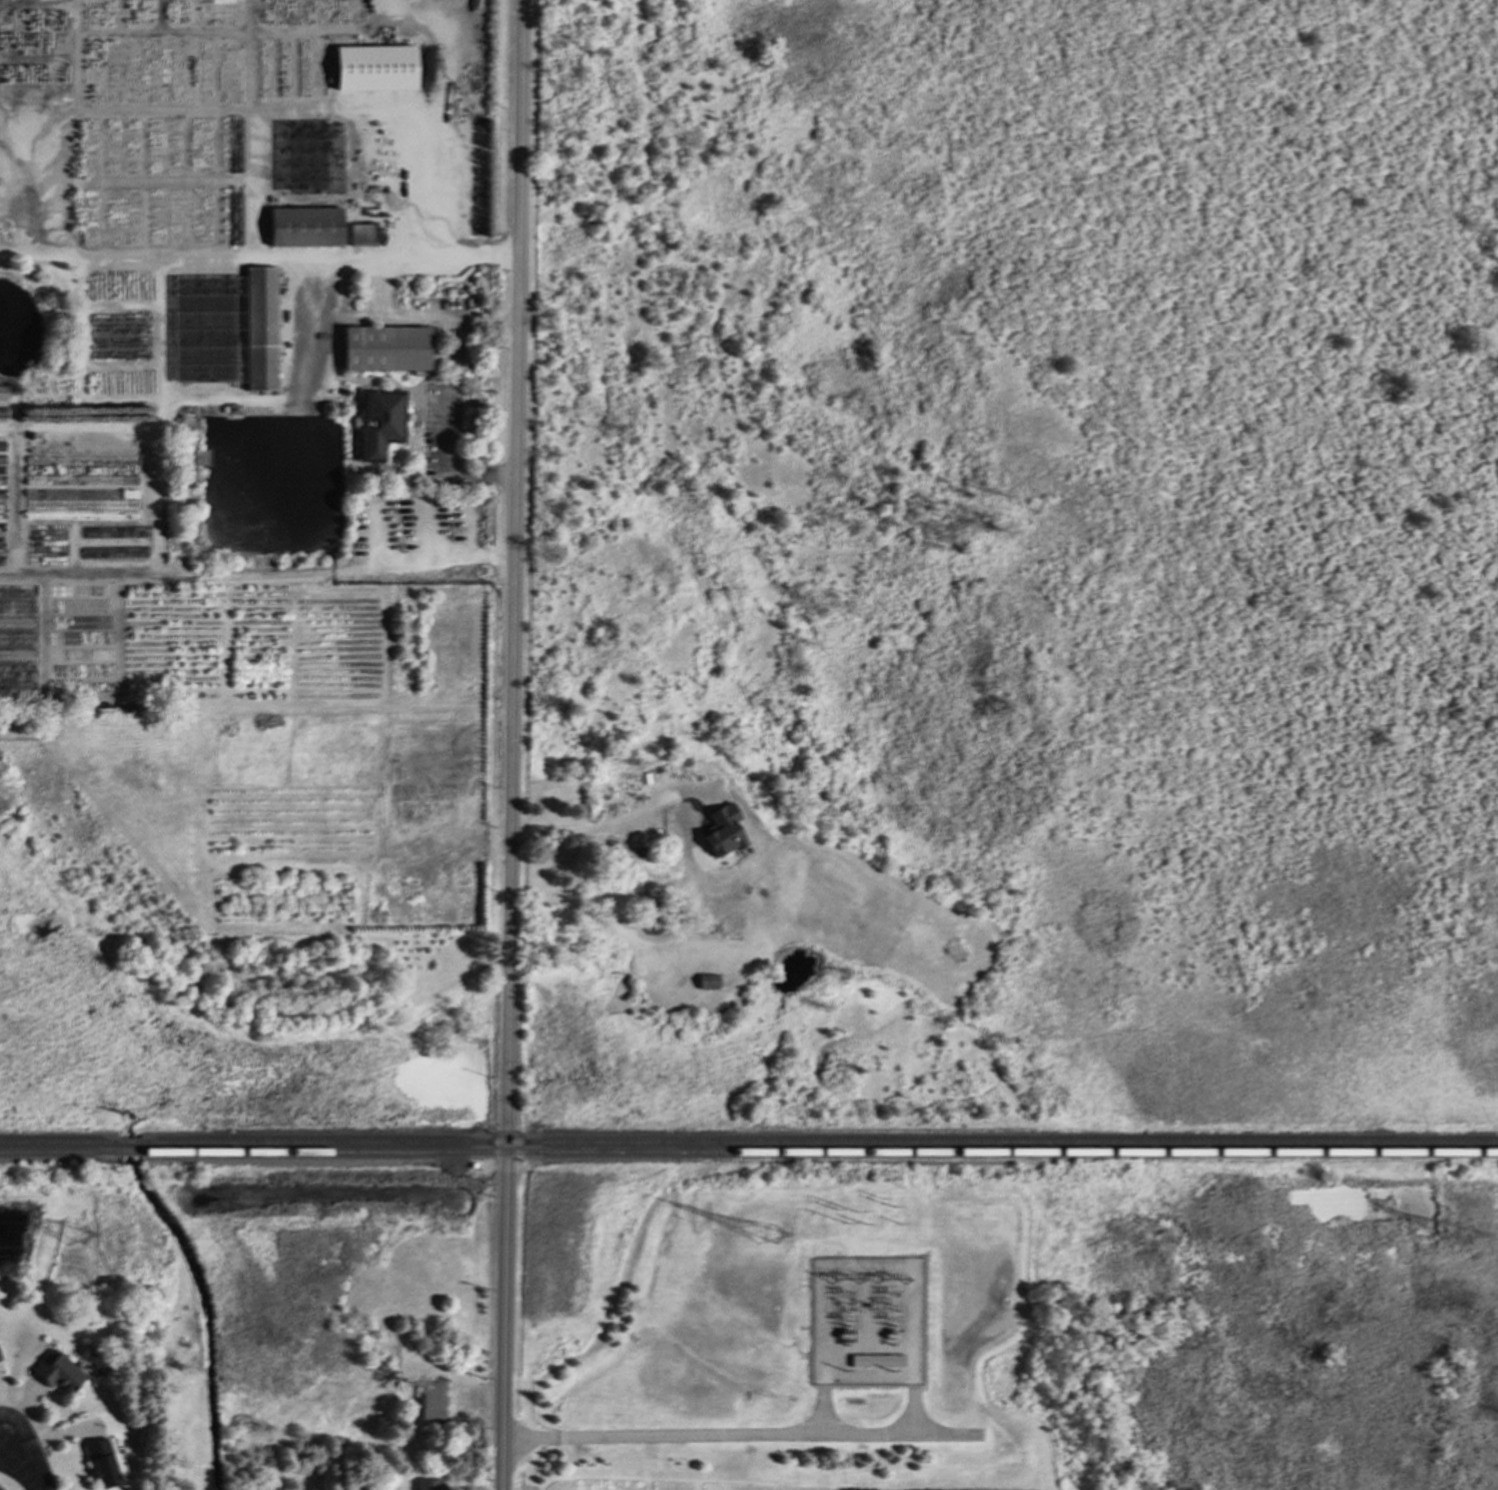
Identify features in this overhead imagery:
building: (374, 67)
building: (304, 226)
building: (360, 234)
road: (375, 313)
road: (487, 316)
building: (260, 328)
building: (385, 347)
building: (3, 392)
building: (379, 420)
road: (511, 745)
road: (580, 829)
building: (721, 830)
building: (626, 868)
building: (706, 980)
railway: (820, 1143)
railway: (58, 1144)
railway: (130, 1144)
railway: (820, 1153)
railway: (58, 1154)
railway: (129, 1154)
power tower: (762, 1235)
power tower: (75, 1237)
power tower: (1465, 1237)
power substation: (867, 1322)
building: (0, 1360)
building: (56, 1371)
building: (431, 1403)
road: (803, 1433)
road: (22, 1461)
building: (101, 1462)
building: (428, 1484)

